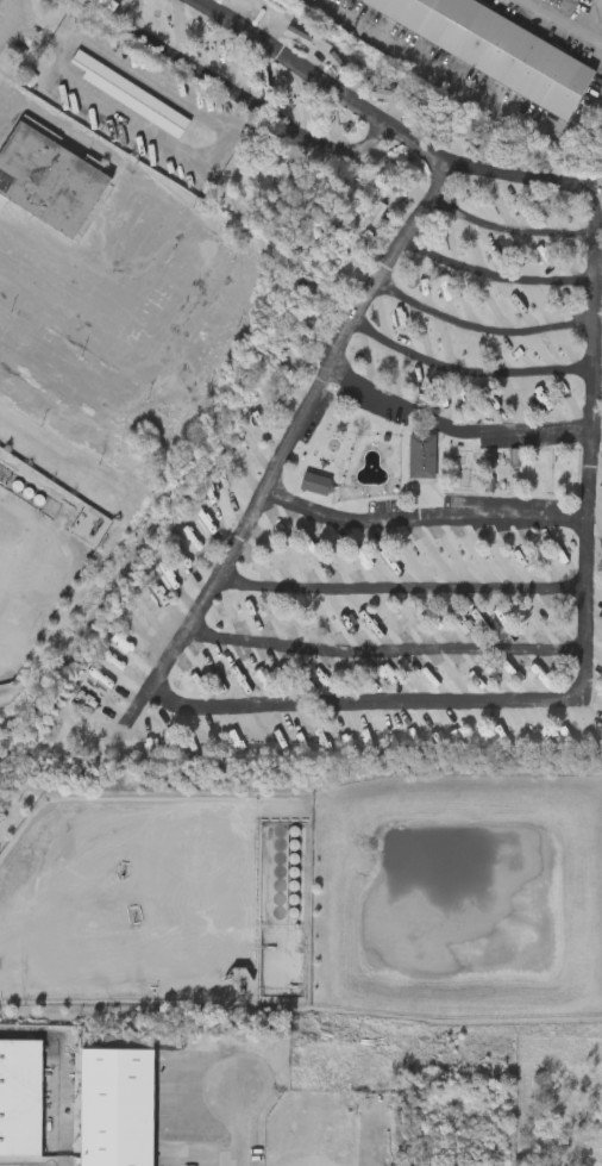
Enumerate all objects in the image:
building: (572, 0)
building: (579, 0)
building: (0, 1)
building: (106, 6)
road: (12, 18)
road: (592, 20)
road: (563, 23)
road: (81, 40)
building: (495, 48)
road: (326, 79)
road: (457, 87)
building: (130, 94)
road: (7, 106)
road: (264, 107)
building: (48, 177)
road: (529, 179)
road: (510, 230)
road: (494, 274)
road: (482, 325)
road: (127, 369)
road: (468, 370)
road: (452, 424)
building: (425, 456)
road: (422, 512)
road: (399, 587)
road: (382, 648)
road: (284, 707)
building: (20, 1096)
building: (115, 1103)
road: (234, 1129)

